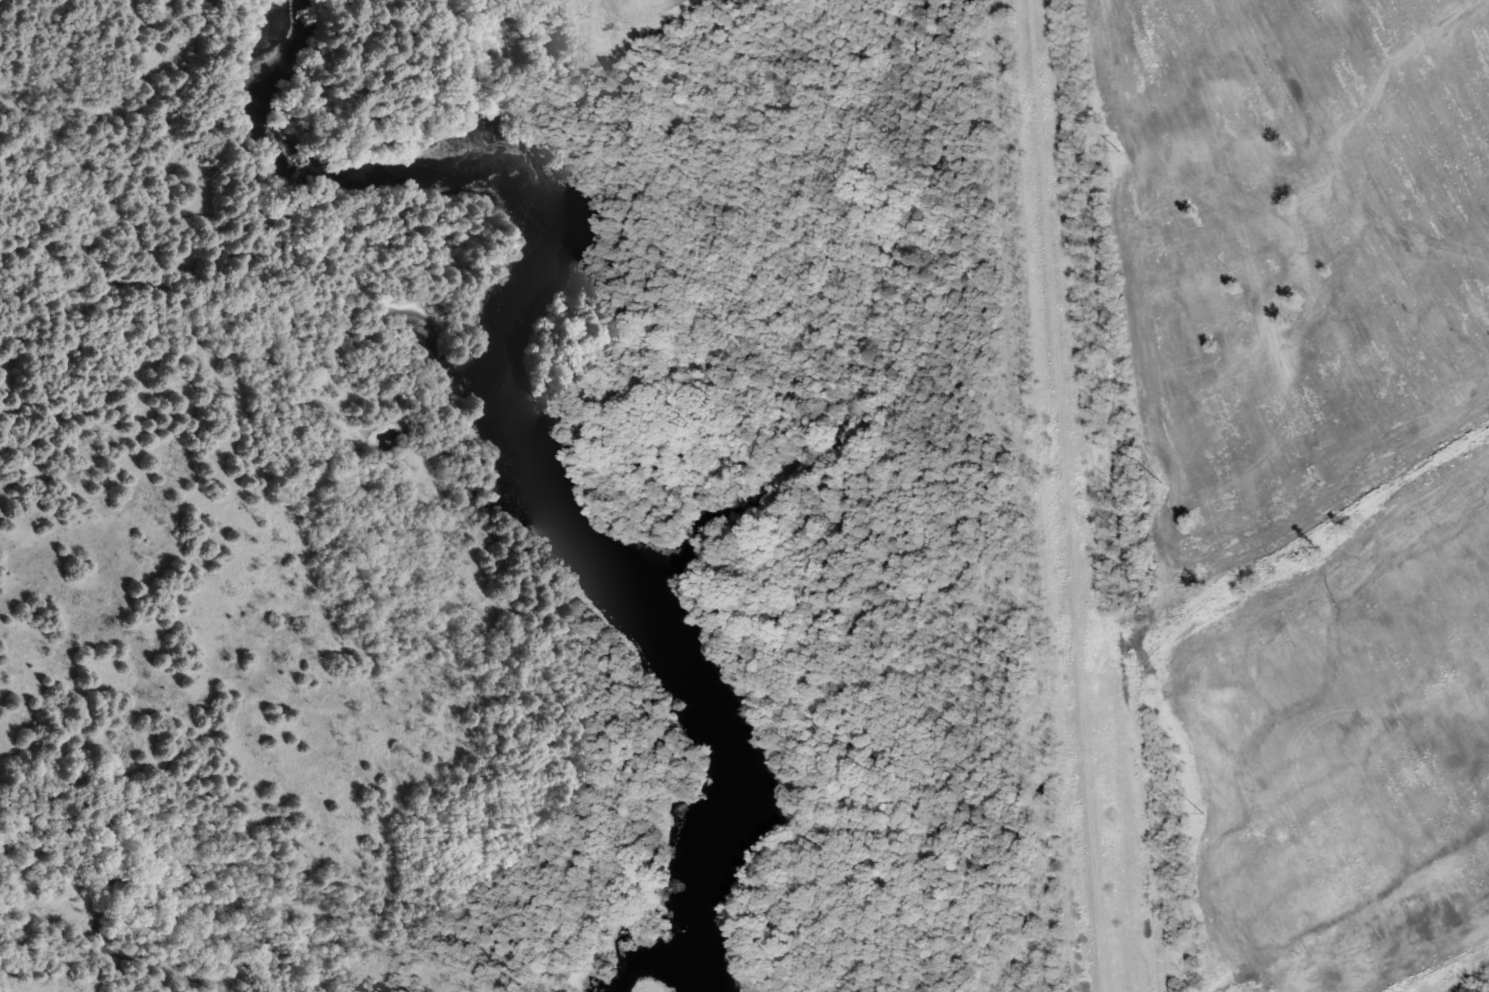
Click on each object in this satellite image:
power tower: (1120, 151)
power tower: (1161, 483)
power tower: (1202, 812)

